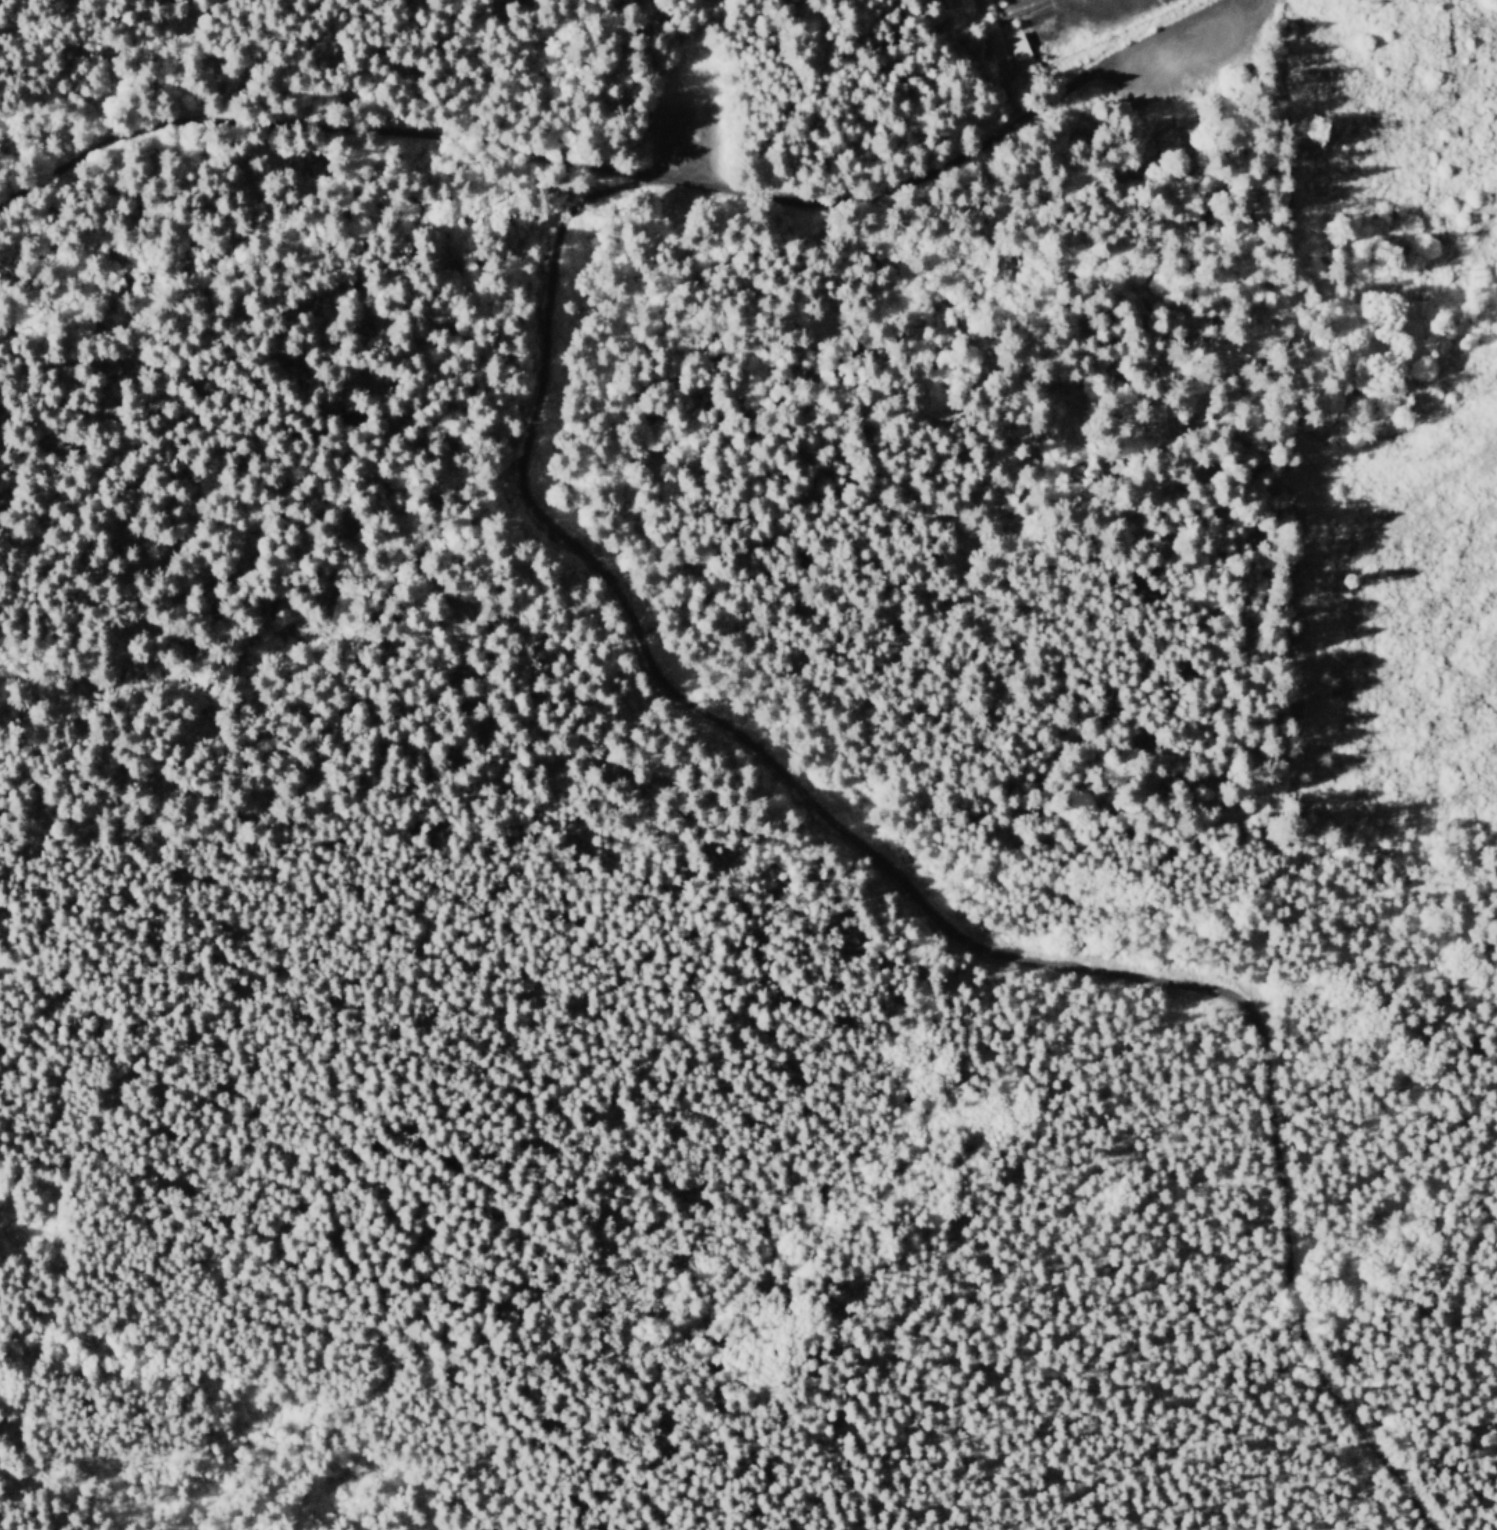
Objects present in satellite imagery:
building: (1016, 48)
road: (629, 183)

